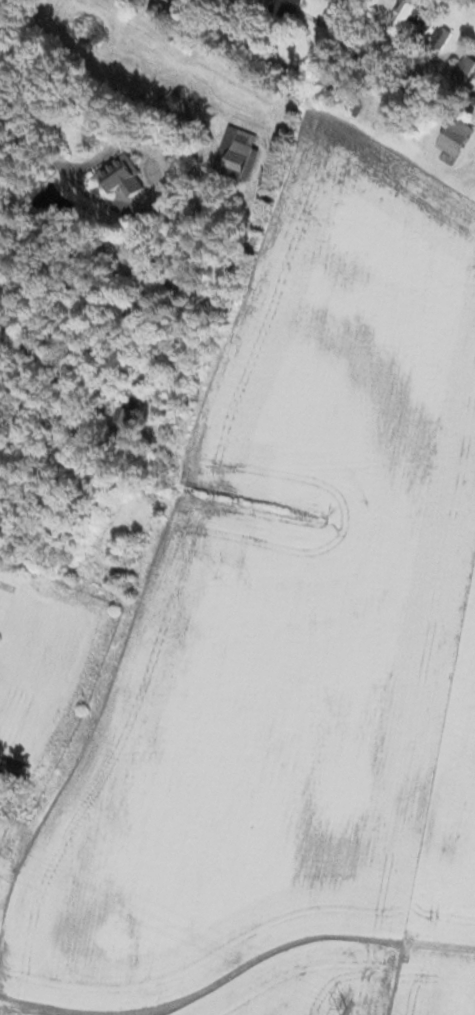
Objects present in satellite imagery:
building: (287, 7)
building: (412, 20)
building: (440, 39)
building: (462, 71)
building: (327, 91)
building: (352, 105)
building: (451, 142)
building: (234, 154)
building: (120, 176)
building: (131, 307)
building: (130, 398)
building: (11, 769)
power tower: (344, 1014)

